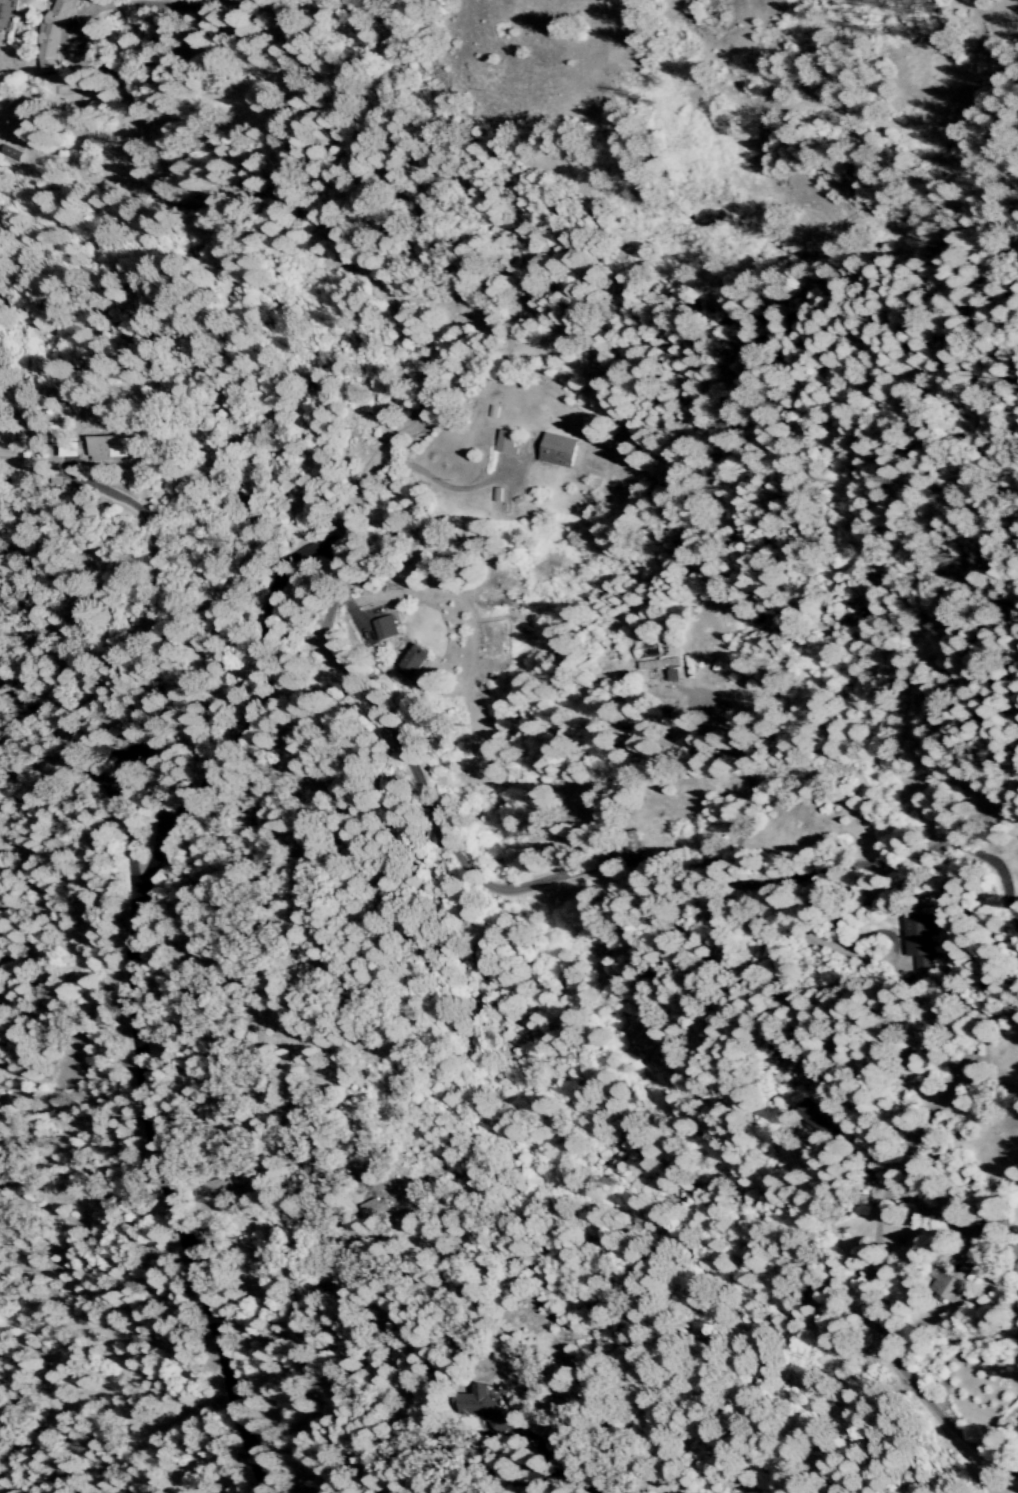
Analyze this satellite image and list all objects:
road: (88, 12)
building: (56, 35)
road: (75, 141)
building: (9, 155)
building: (507, 442)
building: (72, 448)
building: (116, 448)
building: (560, 451)
road: (439, 481)
road: (351, 617)
building: (385, 627)
road: (148, 633)
road: (260, 651)
building: (652, 658)
building: (409, 664)
road: (103, 774)
road: (995, 867)
road: (561, 875)
road: (791, 927)
building: (921, 941)
road: (895, 950)
building: (815, 1107)
road: (868, 1142)
road: (907, 1152)
building: (380, 1207)
building: (1017, 1273)
road: (987, 1277)
building: (947, 1286)
road: (334, 1338)
building: (480, 1399)
road: (933, 1411)
road: (536, 1439)
building: (558, 1446)
road: (573, 1472)
road: (518, 1474)

